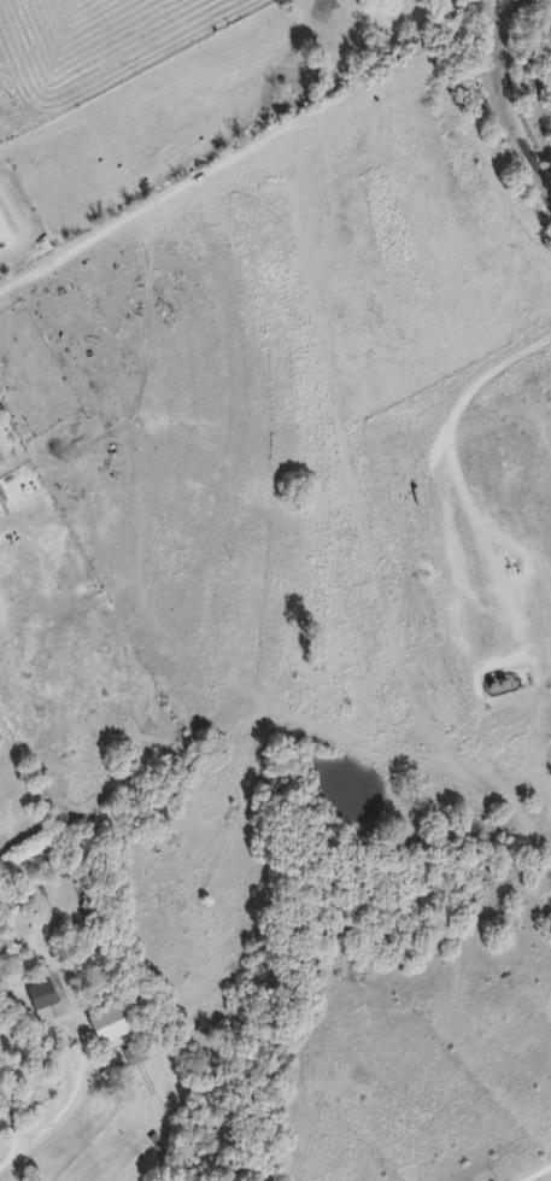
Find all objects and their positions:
road: (506, 90)
road: (248, 144)
road: (439, 446)
building: (204, 750)
building: (77, 963)
building: (39, 992)
building: (133, 1051)
road: (70, 1101)
road: (12, 1119)
road: (14, 1153)
road: (534, 1171)

